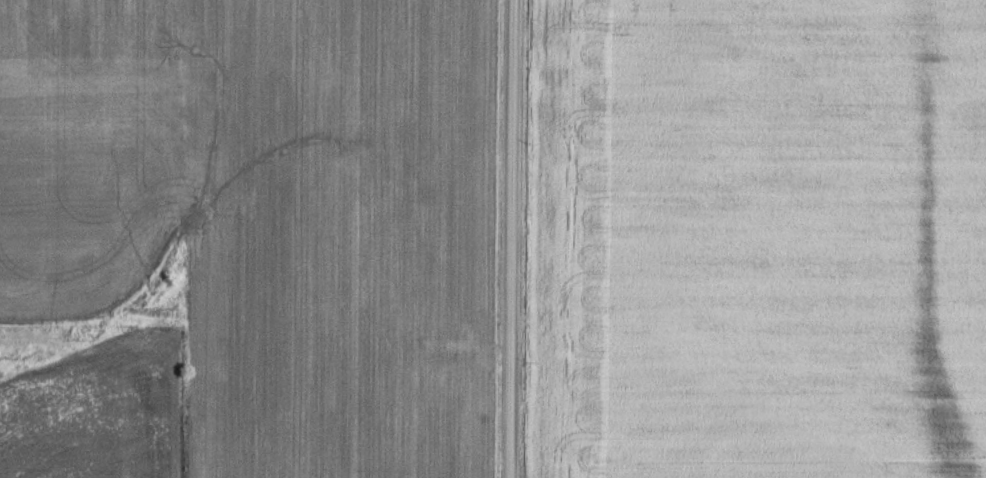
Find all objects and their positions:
road: (511, 239)

